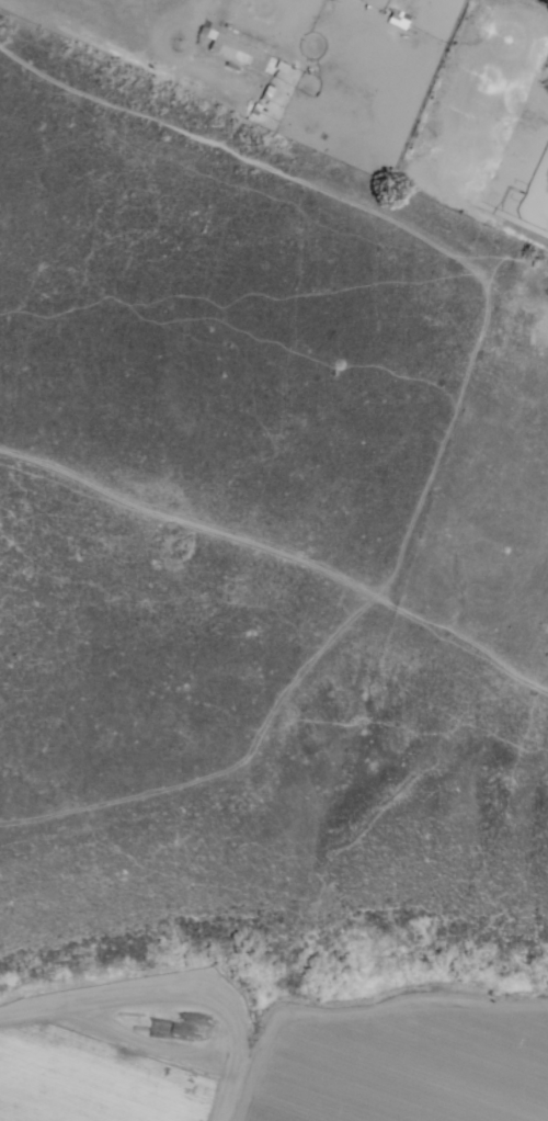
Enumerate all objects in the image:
building: (247, 52)
crop: (412, 1073)
crop: (102, 1075)

